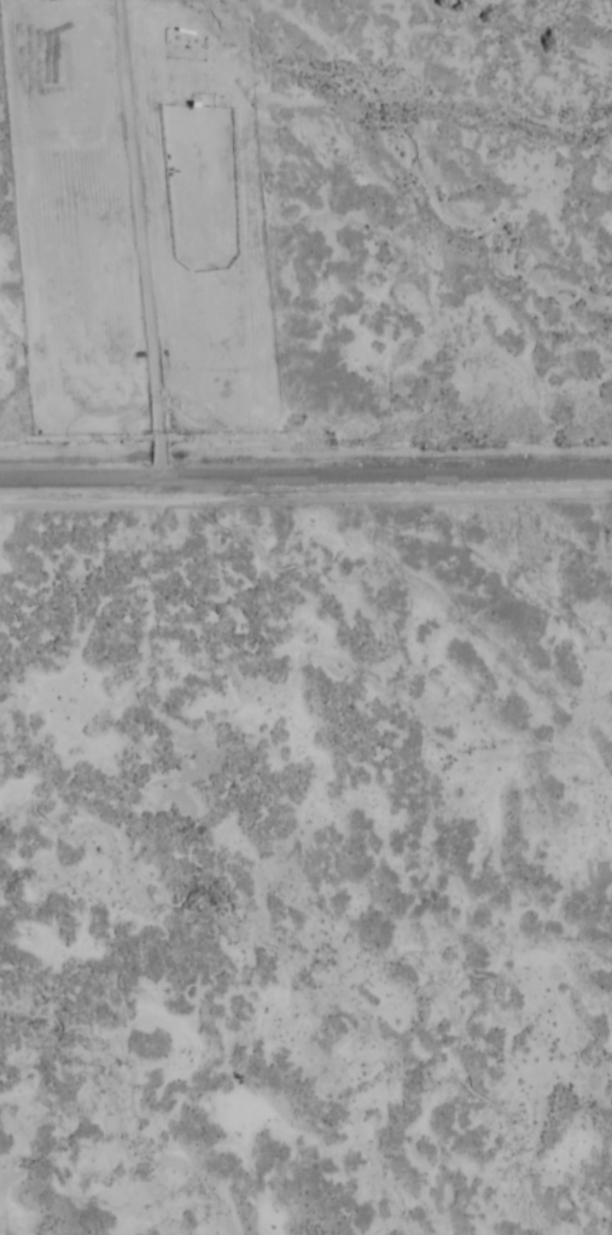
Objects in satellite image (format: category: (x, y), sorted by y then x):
road: (141, 234)
road: (305, 468)

